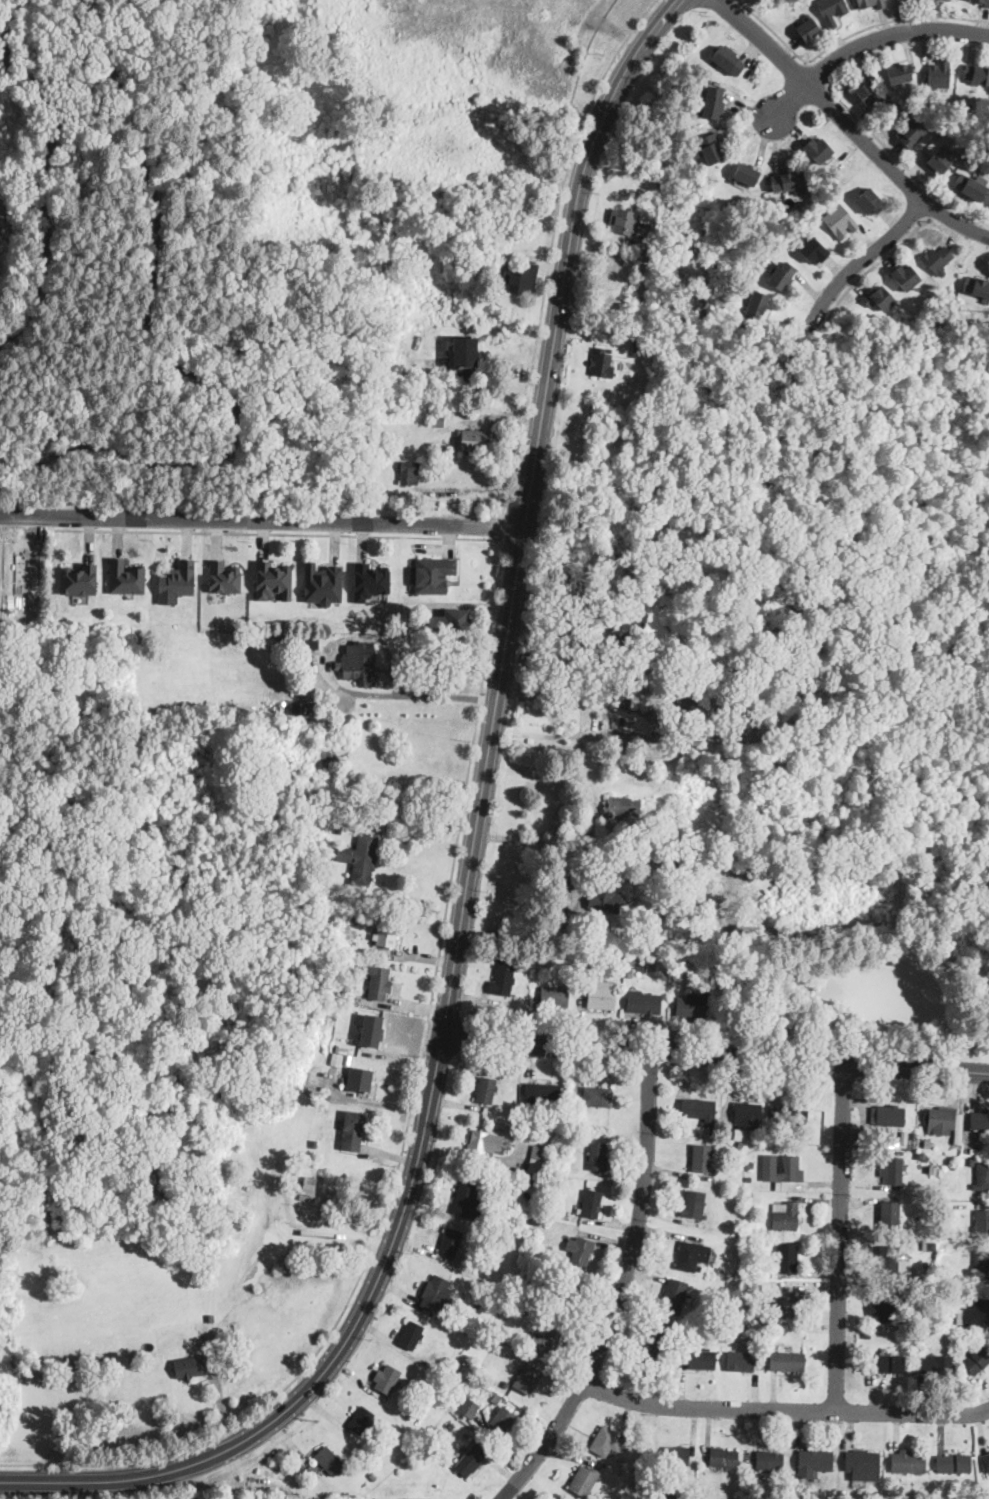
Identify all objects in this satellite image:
building: (982, 2)
building: (871, 3)
road: (669, 5)
road: (716, 5)
building: (831, 10)
road: (891, 18)
building: (808, 28)
road: (773, 30)
road: (869, 39)
building: (728, 60)
road: (629, 65)
building: (899, 73)
building: (939, 73)
road: (816, 74)
building: (977, 74)
building: (867, 88)
building: (713, 102)
road: (730, 104)
road: (746, 105)
building: (967, 105)
road: (792, 126)
road: (849, 126)
road: (748, 129)
building: (912, 132)
road: (813, 133)
road: (724, 138)
road: (763, 140)
road: (777, 143)
building: (711, 148)
building: (819, 150)
building: (939, 160)
road: (901, 161)
road: (754, 163)
road: (785, 164)
building: (746, 173)
building: (789, 181)
building: (969, 188)
building: (870, 201)
building: (772, 202)
building: (624, 221)
building: (839, 221)
building: (654, 226)
road: (549, 244)
building: (813, 250)
building: (650, 259)
road: (859, 259)
building: (937, 260)
road: (873, 263)
building: (782, 276)
building: (905, 276)
building: (521, 278)
building: (977, 286)
building: (877, 297)
building: (938, 300)
building: (755, 306)
park: (137, 307)
building: (420, 337)
building: (504, 341)
building: (641, 341)
building: (635, 351)
building: (463, 352)
building: (602, 364)
building: (661, 382)
building: (438, 420)
building: (473, 439)
building: (374, 464)
building: (410, 472)
road: (549, 490)
road: (261, 519)
road: (502, 525)
road: (277, 531)
building: (647, 553)
building: (431, 574)
building: (223, 577)
building: (125, 578)
road: (515, 578)
building: (178, 579)
building: (272, 579)
building: (78, 580)
building: (370, 581)
building: (322, 582)
road: (580, 611)
building: (625, 615)
building: (450, 621)
building: (283, 627)
building: (312, 642)
building: (638, 647)
building: (356, 663)
road: (338, 686)
road: (545, 689)
building: (642, 699)
building: (686, 701)
building: (323, 710)
building: (231, 725)
building: (250, 746)
building: (298, 755)
building: (818, 758)
building: (867, 798)
building: (646, 805)
building: (622, 807)
building: (843, 807)
building: (337, 828)
building: (657, 829)
building: (322, 835)
road: (538, 836)
building: (361, 858)
building: (583, 862)
building: (573, 864)
building: (606, 900)
building: (354, 920)
building: (387, 934)
building: (583, 954)
building: (538, 957)
building: (357, 967)
building: (630, 972)
building: (504, 975)
building: (380, 983)
building: (600, 992)
building: (554, 996)
building: (360, 1000)
building: (644, 1003)
building: (694, 1004)
building: (341, 1019)
building: (371, 1030)
road: (459, 1031)
road: (715, 1054)
building: (335, 1063)
building: (360, 1078)
building: (486, 1089)
building: (542, 1094)
building: (342, 1095)
building: (597, 1096)
building: (699, 1109)
building: (747, 1113)
building: (791, 1115)
building: (887, 1115)
building: (939, 1119)
building: (980, 1121)
road: (406, 1126)
building: (958, 1128)
building: (352, 1130)
building: (739, 1133)
building: (540, 1134)
building: (882, 1135)
building: (902, 1136)
building: (864, 1139)
building: (911, 1141)
building: (314, 1142)
building: (738, 1143)
building: (924, 1143)
building: (483, 1144)
building: (974, 1151)
building: (922, 1156)
building: (598, 1158)
building: (539, 1159)
building: (703, 1159)
building: (971, 1162)
building: (750, 1165)
building: (782, 1170)
building: (892, 1170)
building: (981, 1176)
building: (541, 1184)
building: (308, 1189)
building: (244, 1192)
building: (749, 1195)
building: (468, 1200)
building: (591, 1203)
building: (695, 1204)
building: (784, 1215)
building: (890, 1215)
building: (982, 1224)
building: (308, 1231)
building: (947, 1233)
road: (840, 1236)
building: (468, 1238)
building: (451, 1242)
building: (582, 1250)
building: (543, 1252)
building: (691, 1255)
building: (787, 1256)
building: (888, 1260)
building: (981, 1264)
building: (535, 1268)
building: (699, 1268)
road: (380, 1270)
building: (767, 1285)
road: (621, 1290)
building: (437, 1294)
building: (939, 1294)
building: (567, 1296)
building: (675, 1296)
building: (689, 1299)
building: (745, 1299)
building: (503, 1300)
building: (788, 1304)
building: (887, 1308)
building: (523, 1309)
building: (974, 1313)
building: (534, 1315)
building: (211, 1317)
building: (676, 1332)
building: (411, 1335)
building: (867, 1335)
building: (729, 1336)
building: (717, 1337)
building: (546, 1342)
building: (655, 1342)
building: (702, 1360)
building: (740, 1360)
building: (977, 1360)
building: (787, 1361)
building: (890, 1363)
building: (934, 1363)
building: (190, 1367)
building: (387, 1379)
building: (526, 1380)
building: (504, 1385)
road: (330, 1386)
building: (496, 1399)
building: (469, 1407)
road: (785, 1408)
building: (409, 1415)
building: (501, 1419)
building: (362, 1421)
building: (451, 1427)
building: (607, 1441)
building: (677, 1457)
building: (473, 1458)
building: (724, 1459)
building: (330, 1461)
building: (770, 1461)
building: (909, 1462)
building: (985, 1462)
building: (814, 1463)
building: (953, 1463)
building: (863, 1466)
building: (375, 1476)
road: (114, 1479)
building: (584, 1480)
building: (639, 1485)
building: (843, 1492)
building: (669, 1494)

